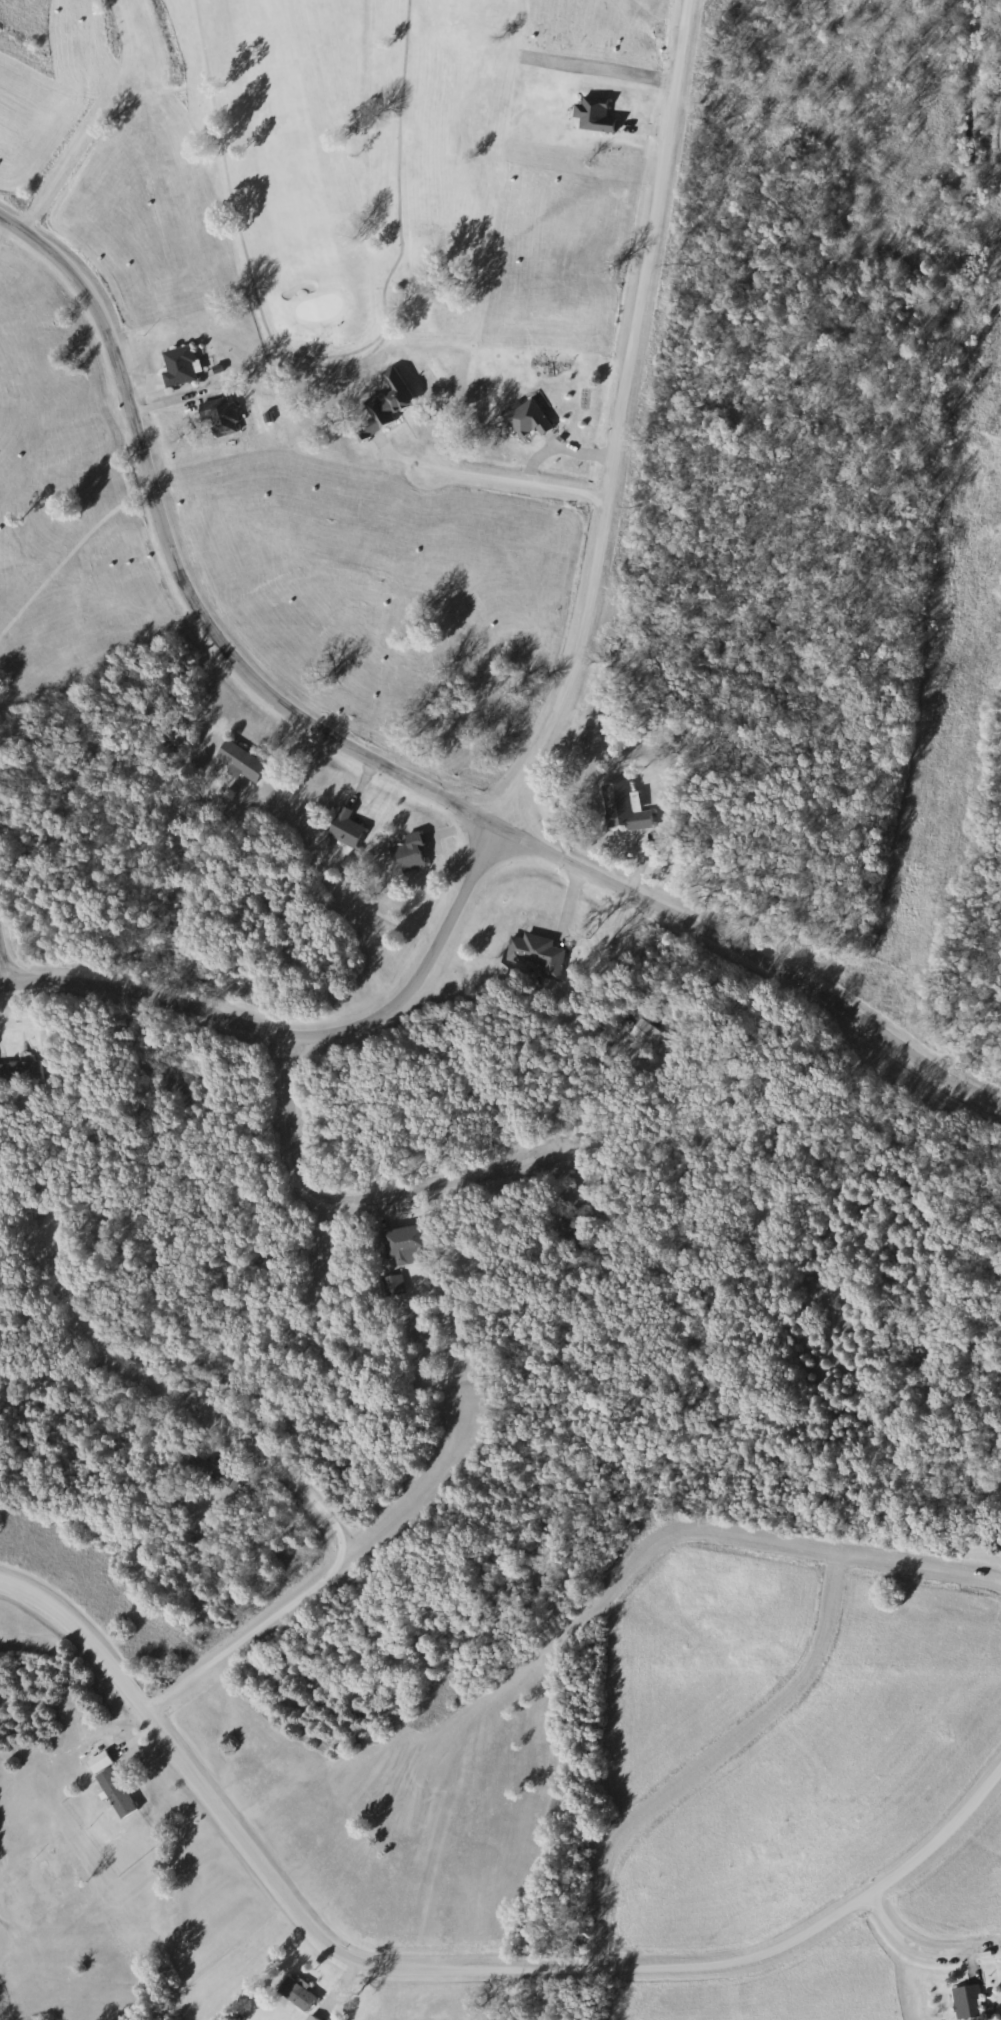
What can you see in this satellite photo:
building: (593, 116)
building: (178, 367)
building: (384, 405)
building: (219, 417)
building: (527, 420)
road: (490, 500)
road: (552, 721)
building: (239, 762)
road: (384, 765)
building: (621, 808)
building: (344, 829)
building: (408, 854)
building: (534, 955)
road: (4, 963)
building: (639, 1034)
building: (17, 1072)
road: (350, 1198)
building: (563, 1223)
building: (405, 1245)
building: (391, 1286)
road: (190, 1404)
building: (208, 1471)
road: (689, 1563)
road: (319, 1582)
road: (719, 1781)
building: (111, 1785)
road: (897, 1933)
road: (968, 1954)
road: (447, 1970)
building: (295, 1994)
building: (965, 2003)
building: (310, 2018)

